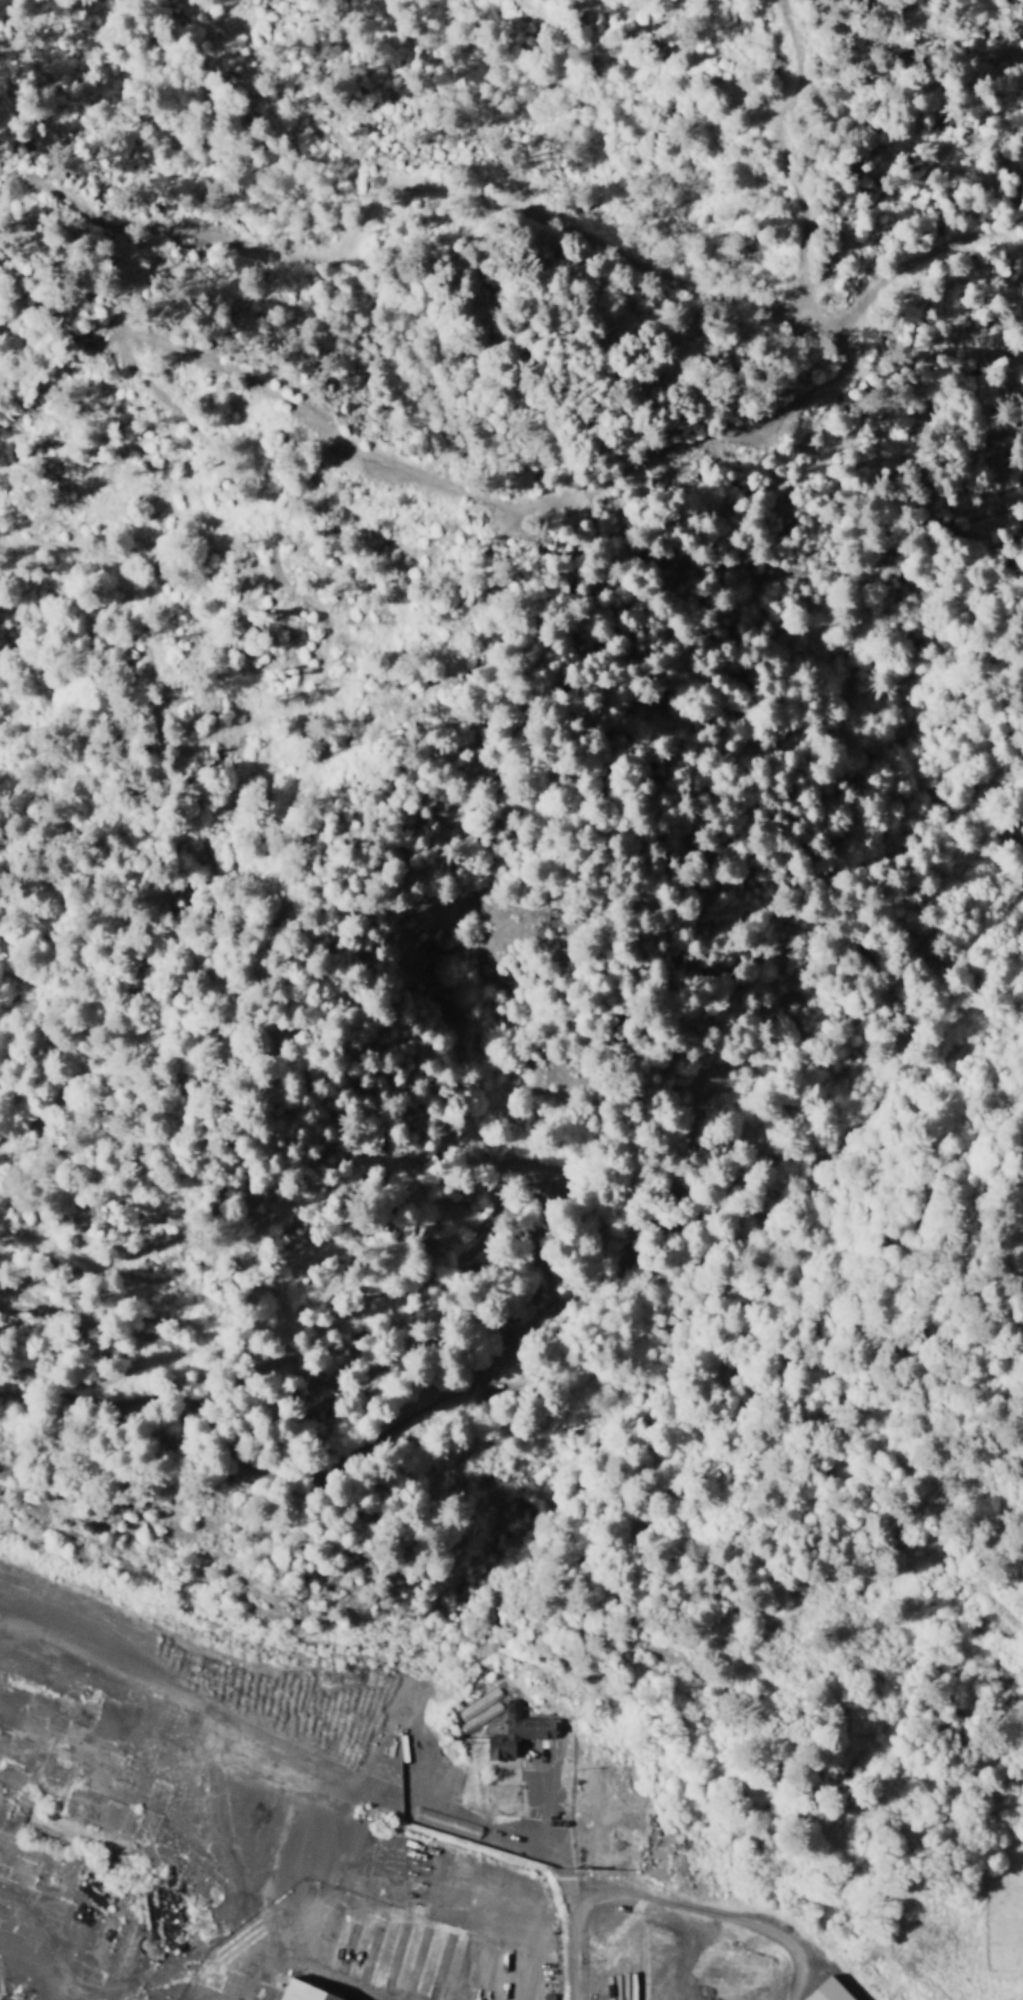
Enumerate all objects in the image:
building: (526, 1731)
road: (571, 1894)
road: (412, 1895)
road: (69, 1925)
road: (250, 1943)
building: (318, 1991)

